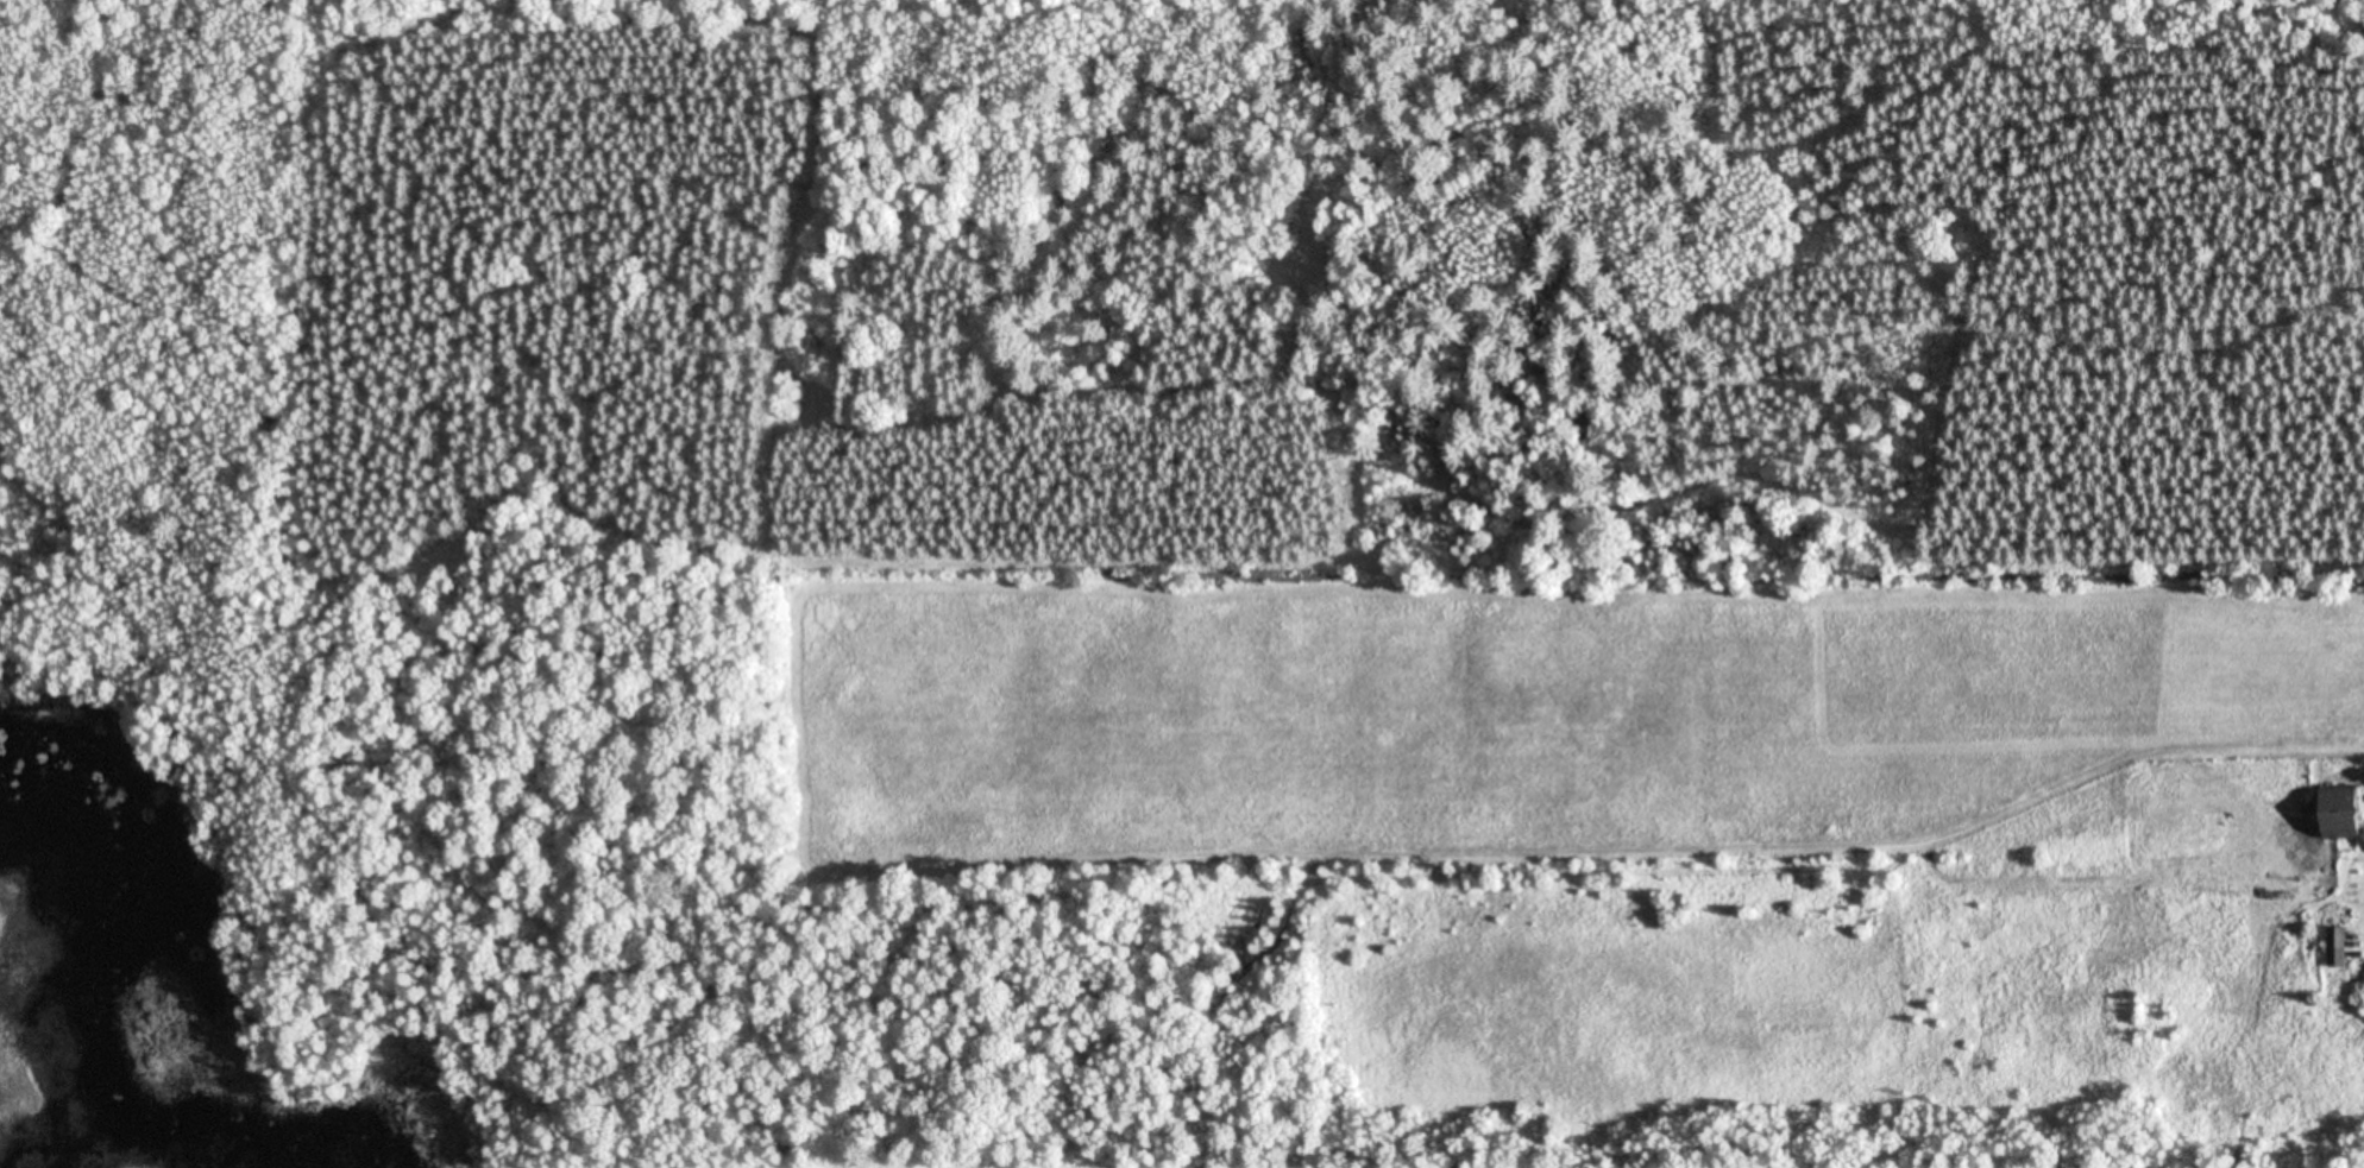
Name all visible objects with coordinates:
building: (2346, 814)
building: (2339, 947)

